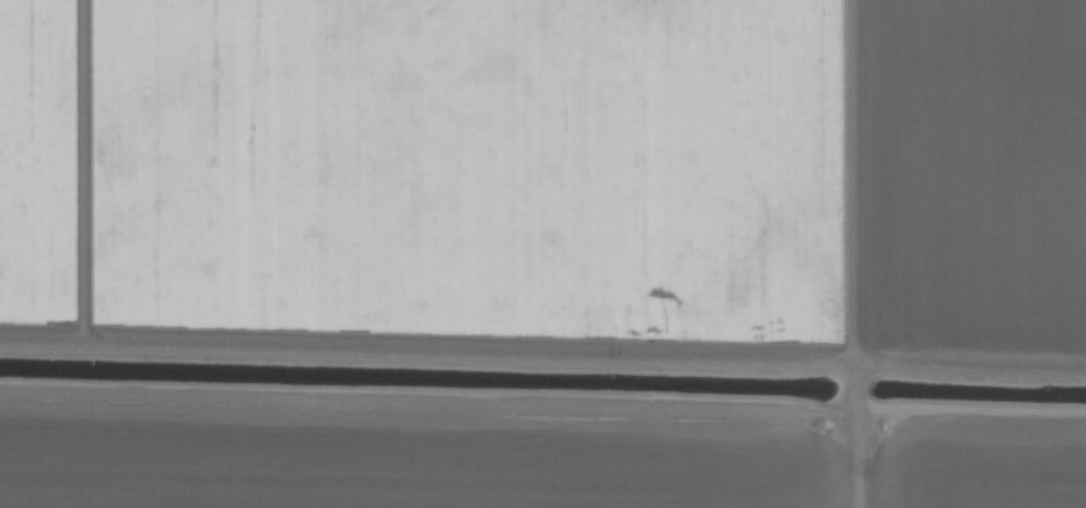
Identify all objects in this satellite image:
crop: (542, 253)
road: (822, 253)

